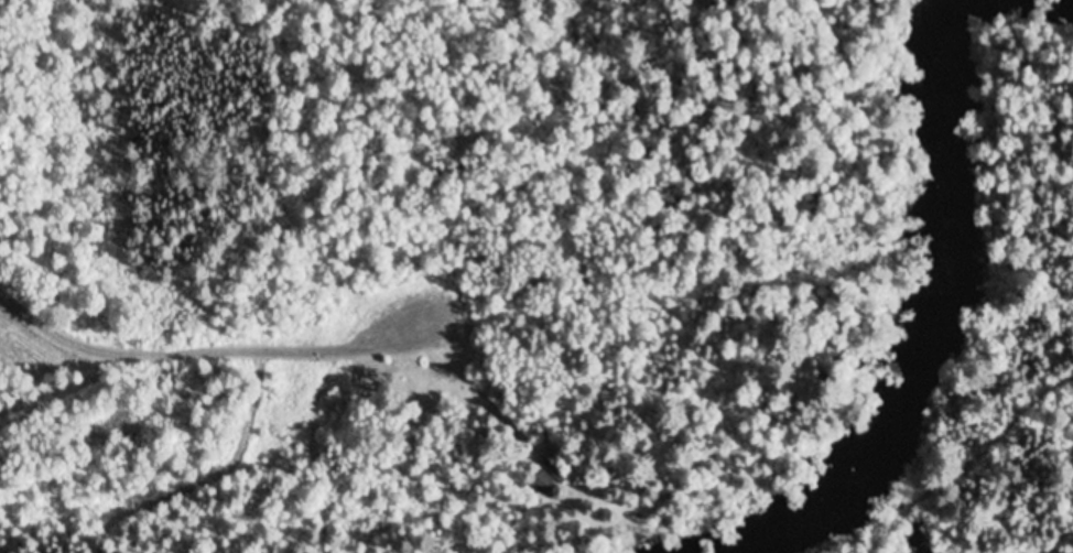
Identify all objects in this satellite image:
river: (1069, 0)
river: (934, 242)
road: (205, 348)
building: (542, 484)
river: (785, 525)

